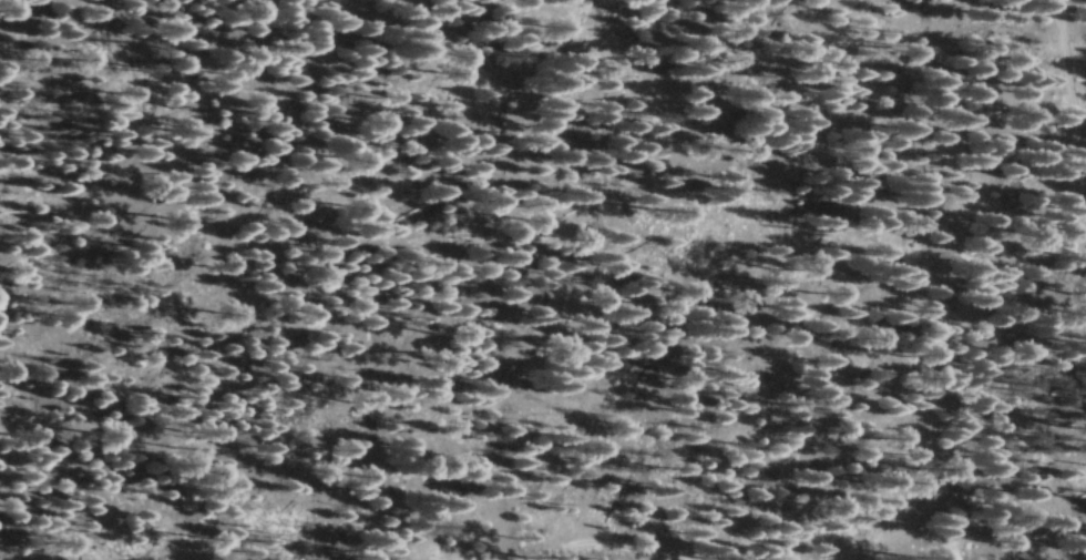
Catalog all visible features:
road: (986, 347)
road: (604, 542)

